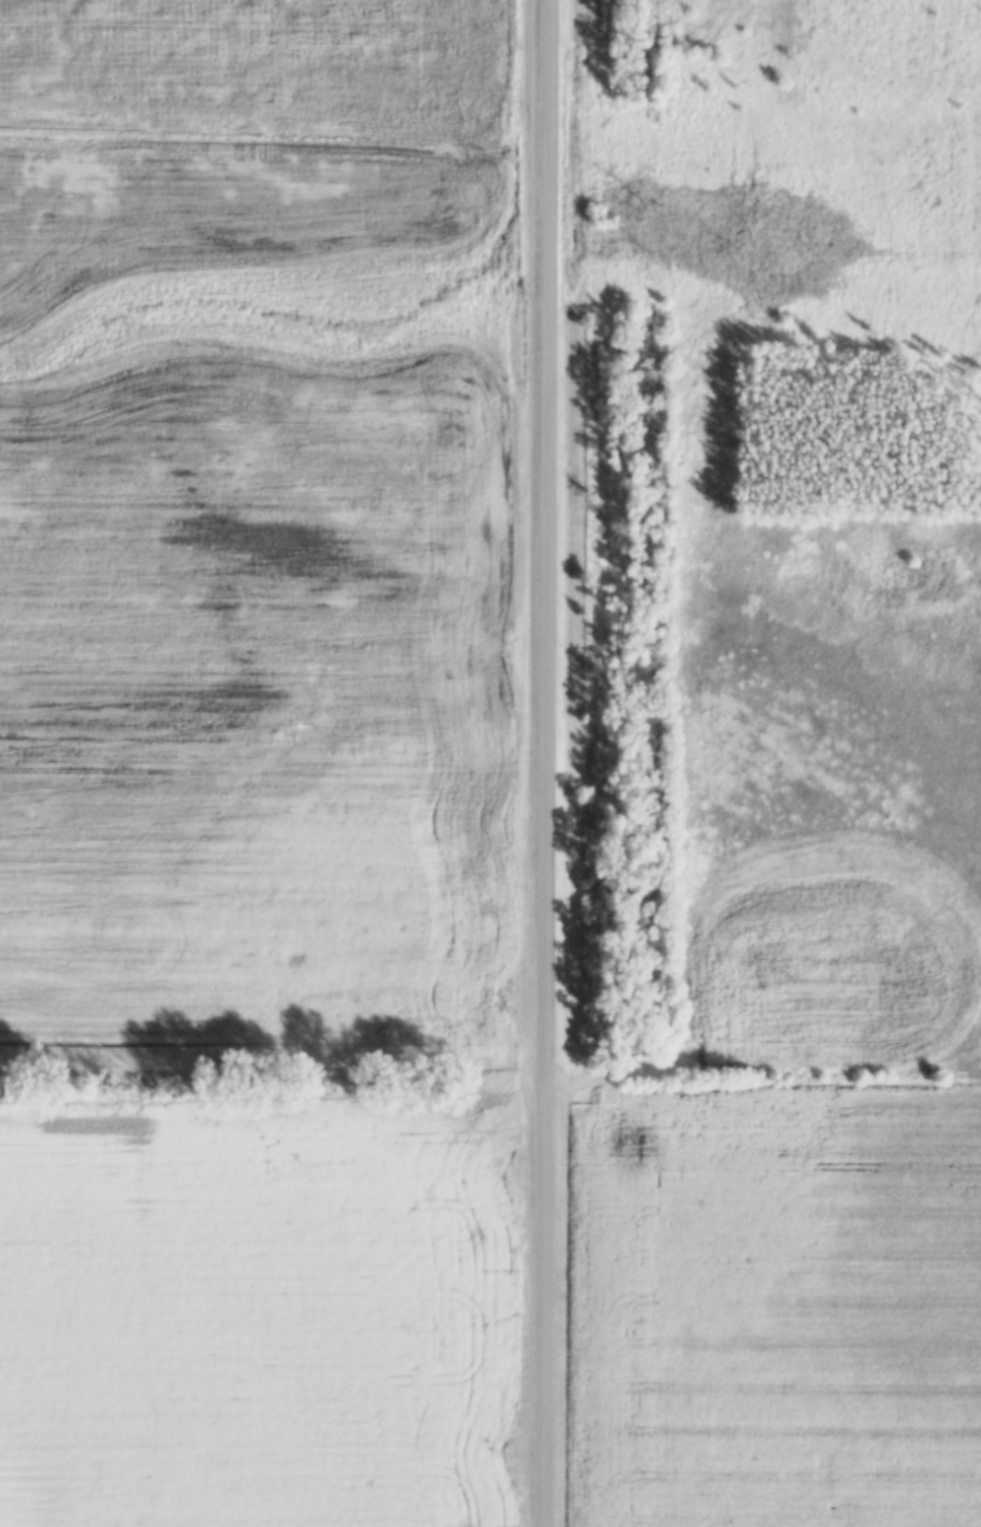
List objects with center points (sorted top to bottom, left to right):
road: (549, 763)

